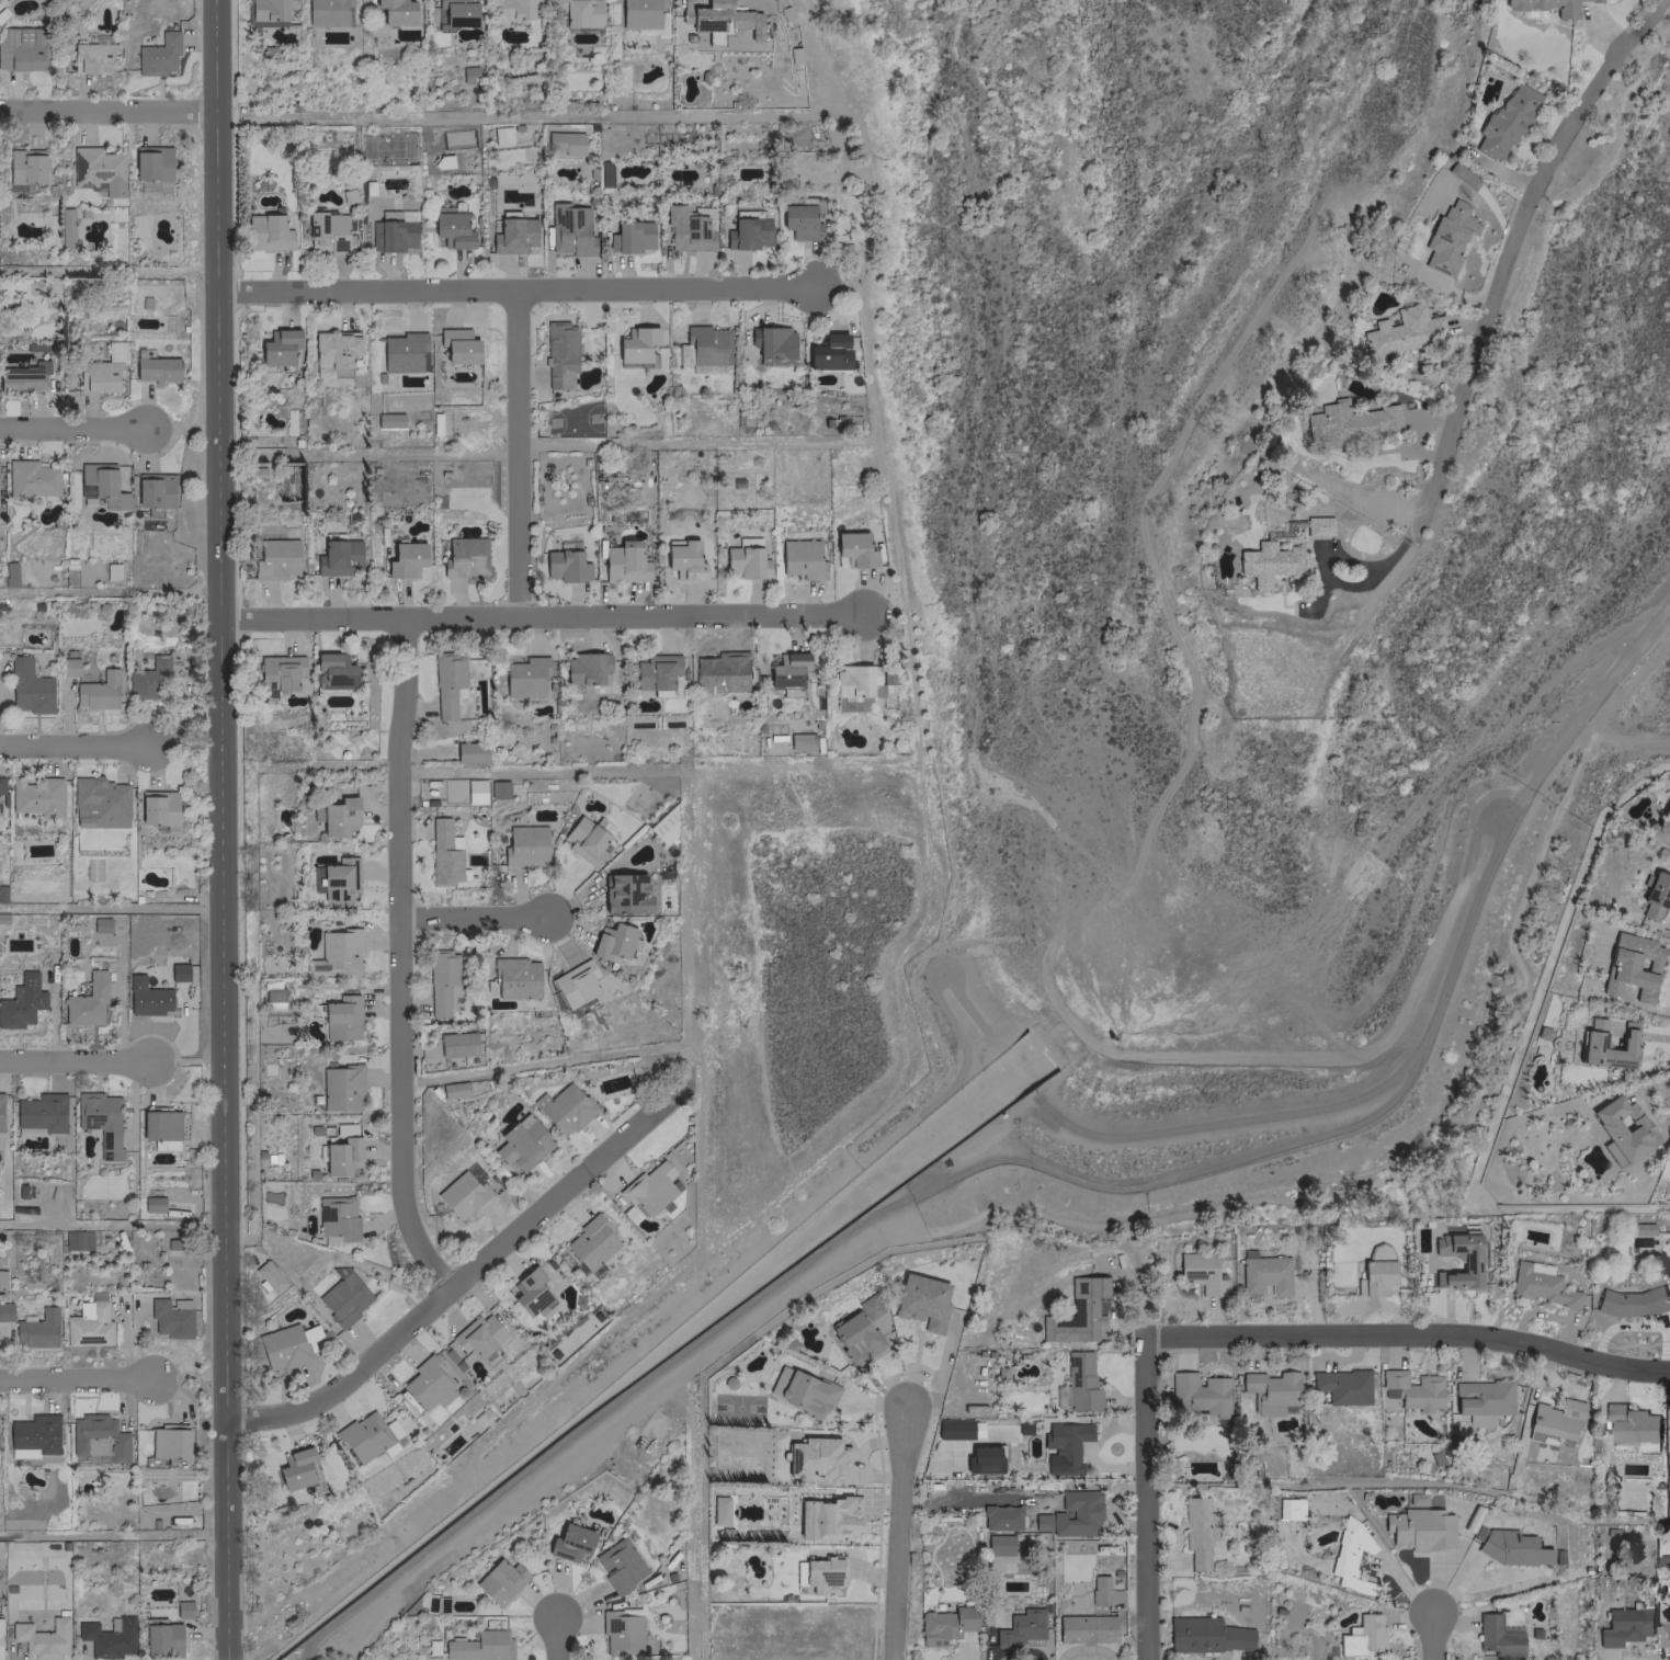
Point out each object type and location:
building: (1547, 5)
building: (513, 9)
building: (269, 11)
building: (396, 11)
building: (326, 12)
building: (456, 13)
building: (582, 13)
building: (640, 13)
building: (719, 16)
building: (22, 47)
building: (158, 55)
building: (92, 57)
building: (468, 75)
road: (109, 107)
building: (1506, 121)
building: (501, 135)
building: (564, 143)
building: (151, 162)
building: (25, 166)
building: (96, 170)
building: (604, 174)
building: (1462, 175)
building: (802, 219)
building: (66, 228)
building: (452, 229)
building: (570, 229)
building: (689, 229)
building: (268, 232)
building: (328, 232)
building: (749, 232)
building: (513, 236)
building: (1449, 236)
building: (630, 237)
road: (77, 271)
road: (519, 286)
road: (1493, 316)
building: (1404, 330)
building: (772, 341)
building: (636, 344)
building: (458, 345)
building: (279, 346)
building: (334, 349)
building: (707, 349)
building: (405, 352)
building: (683, 352)
building: (829, 352)
building: (559, 354)
building: (157, 368)
building: (102, 369)
building: (332, 372)
building: (23, 377)
building: (389, 420)
building: (1349, 422)
road: (76, 425)
road: (520, 451)
building: (31, 479)
building: (101, 486)
building: (154, 491)
building: (1318, 526)
building: (855, 557)
building: (338, 558)
building: (465, 558)
building: (404, 559)
building: (802, 560)
building: (274, 561)
building: (684, 561)
building: (745, 561)
building: (624, 564)
building: (1268, 564)
building: (565, 566)
building: (111, 571)
road: (543, 614)
building: (68, 667)
building: (586, 668)
building: (787, 670)
building: (281, 671)
building: (332, 671)
building: (656, 671)
building: (723, 671)
building: (525, 676)
building: (147, 678)
building: (856, 680)
building: (447, 684)
building: (29, 687)
building: (98, 691)
building: (800, 741)
road: (75, 743)
building: (470, 752)
building: (498, 789)
building: (464, 791)
building: (36, 796)
building: (99, 803)
building: (159, 809)
building: (339, 816)
building: (1663, 820)
building: (664, 826)
road: (221, 829)
building: (584, 840)
building: (525, 846)
building: (444, 853)
building: (336, 879)
building: (625, 894)
building: (1654, 896)
road: (474, 914)
building: (100, 924)
building: (612, 942)
building: (336, 954)
road: (400, 959)
building: (1632, 966)
building: (179, 971)
building: (515, 978)
building: (442, 981)
building: (575, 984)
building: (147, 997)
building: (273, 998)
building: (21, 1001)
building: (87, 1001)
building: (341, 1017)
building: (1592, 1038)
building: (456, 1044)
road: (78, 1057)
building: (340, 1087)
building: (453, 1090)
building: (565, 1108)
building: (41, 1113)
building: (2, 1115)
building: (100, 1121)
building: (160, 1124)
building: (1623, 1126)
building: (522, 1146)
building: (341, 1156)
building: (648, 1189)
building: (465, 1192)
building: (152, 1204)
building: (337, 1217)
building: (77, 1240)
building: (591, 1243)
building: (1381, 1252)
building: (1470, 1264)
building: (1201, 1273)
building: (1264, 1273)
building: (269, 1275)
building: (1374, 1278)
road: (463, 1282)
building: (1538, 1284)
building: (531, 1293)
building: (343, 1297)
building: (921, 1301)
building: (1631, 1301)
building: (179, 1303)
building: (1087, 1309)
building: (5, 1311)
building: (169, 1319)
building: (37, 1330)
building: (1047, 1331)
road: (1408, 1333)
building: (478, 1335)
building: (854, 1338)
road: (78, 1379)
building: (1080, 1383)
building: (428, 1384)
building: (1342, 1386)
building: (1411, 1389)
building: (802, 1391)
building: (1272, 1391)
building: (1197, 1394)
building: (1482, 1397)
building: (1479, 1420)
building: (1554, 1421)
building: (1631, 1423)
building: (34, 1433)
building: (368, 1436)
building: (98, 1440)
building: (168, 1442)
building: (1648, 1446)
building: (1064, 1447)
building: (817, 1458)
building: (296, 1469)
road: (1144, 1498)
building: (1288, 1508)
building: (718, 1510)
building: (1076, 1514)
building: (827, 1517)
building: (1000, 1517)
building: (1041, 1522)
building: (1420, 1528)
building: (1197, 1531)
road: (901, 1532)
building: (998, 1542)
building: (570, 1543)
building: (1511, 1547)
building: (1350, 1556)
building: (618, 1565)
building: (798, 1572)
building: (823, 1573)
building: (500, 1581)
building: (1099, 1589)
building: (183, 1608)
building: (0, 1623)
building: (944, 1625)
building: (1624, 1625)
building: (1021, 1627)
building: (1084, 1629)
building: (621, 1630)
building: (1665, 1633)
building: (1205, 1635)
road: (1436, 1635)
road: (558, 1636)
building: (1363, 1636)
building: (1498, 1636)
building: (42, 1638)
building: (107, 1638)
building: (162, 1639)
building: (480, 1646)

